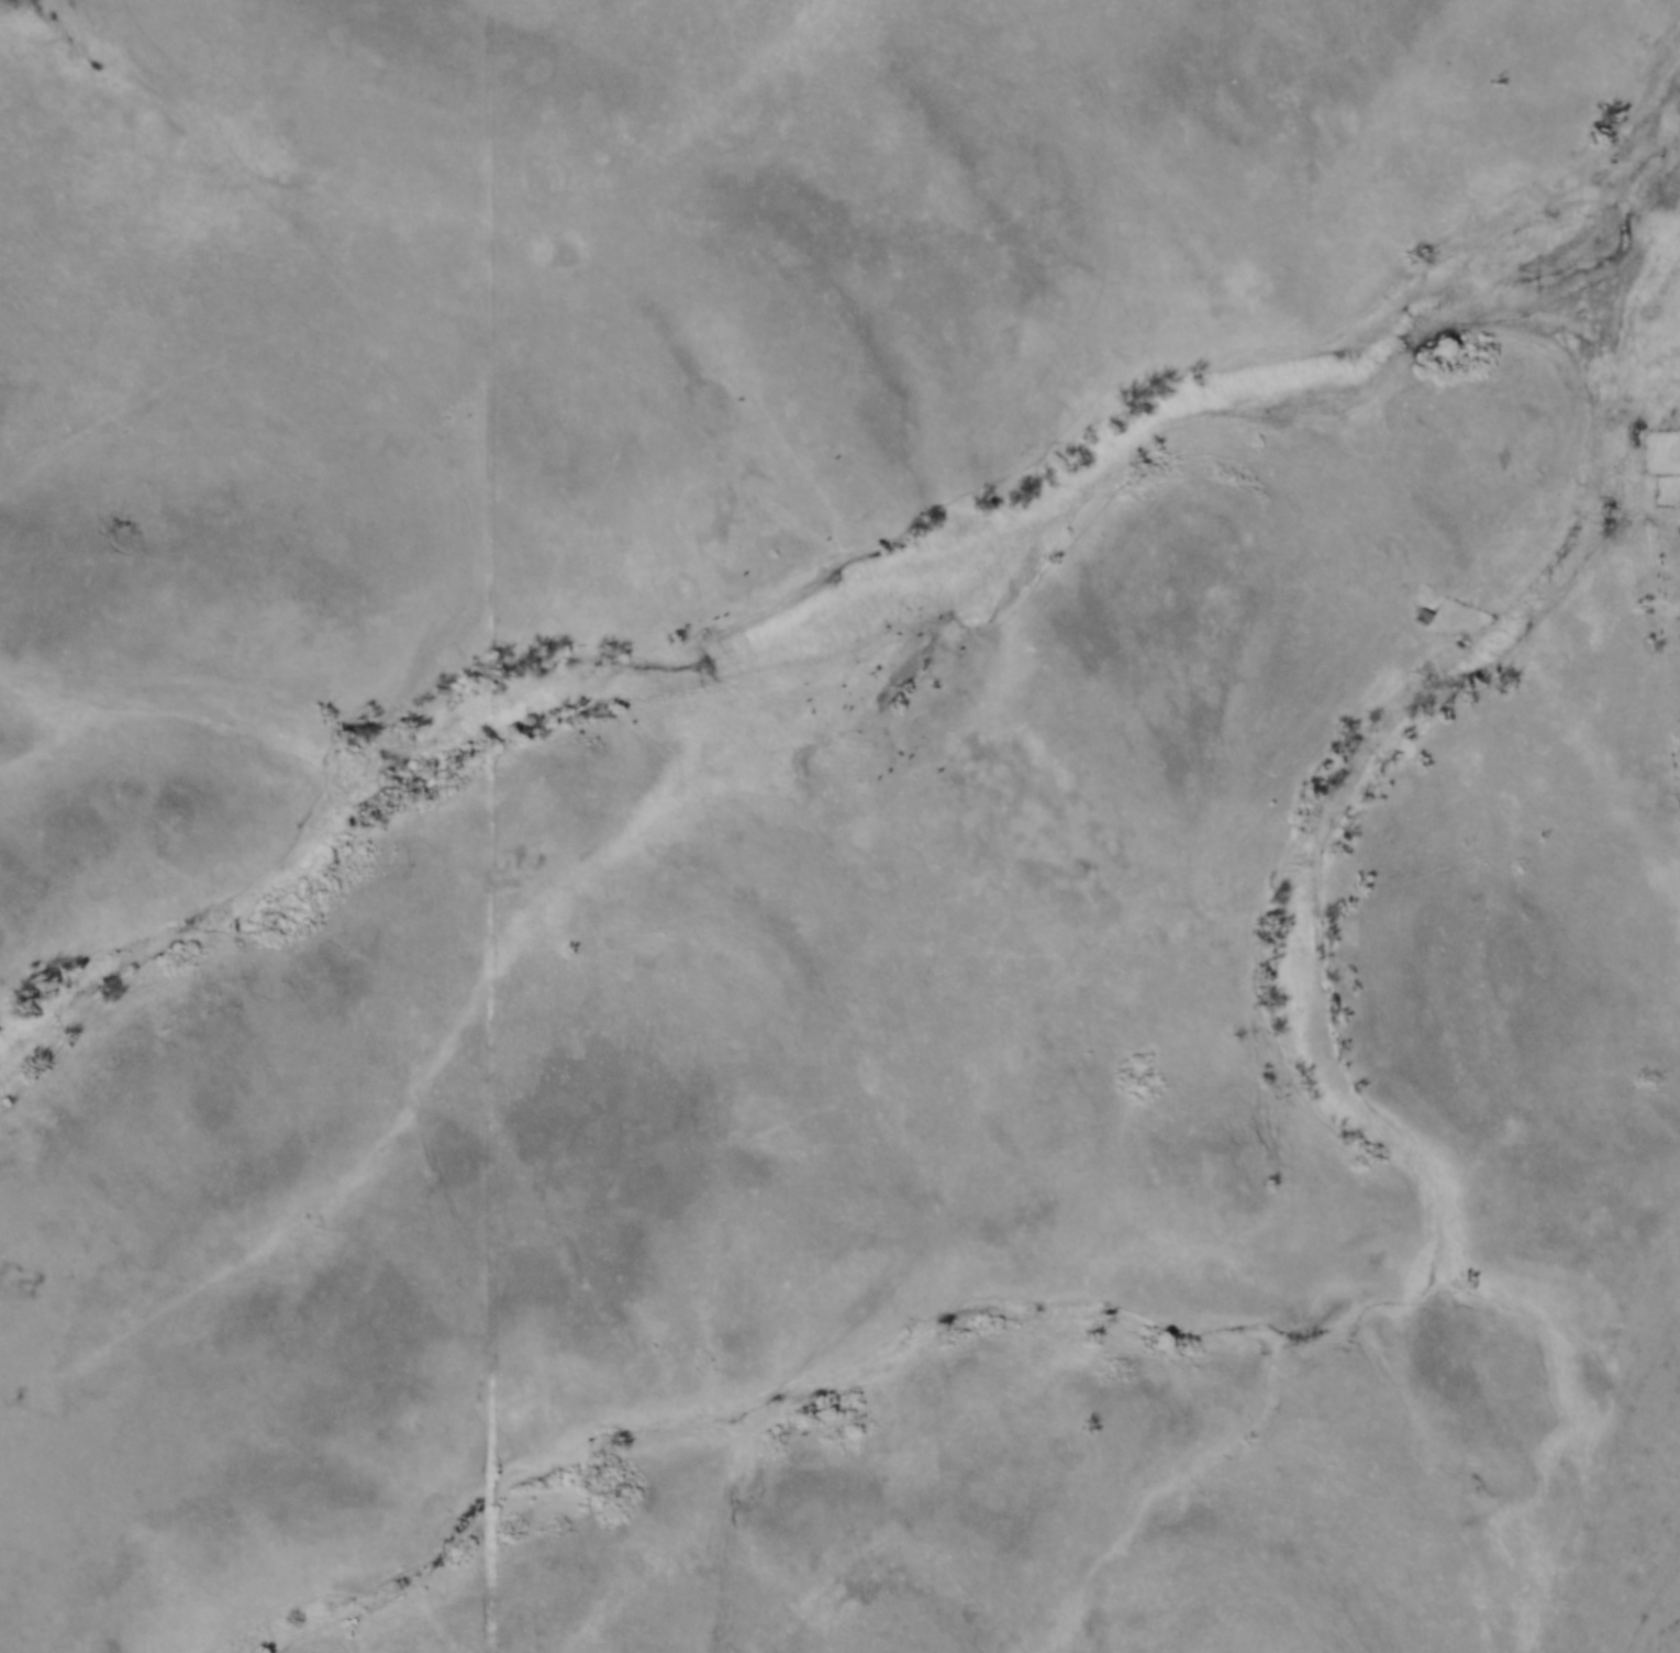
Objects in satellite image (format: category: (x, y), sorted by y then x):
building: (1421, 617)
road: (1593, 1460)

